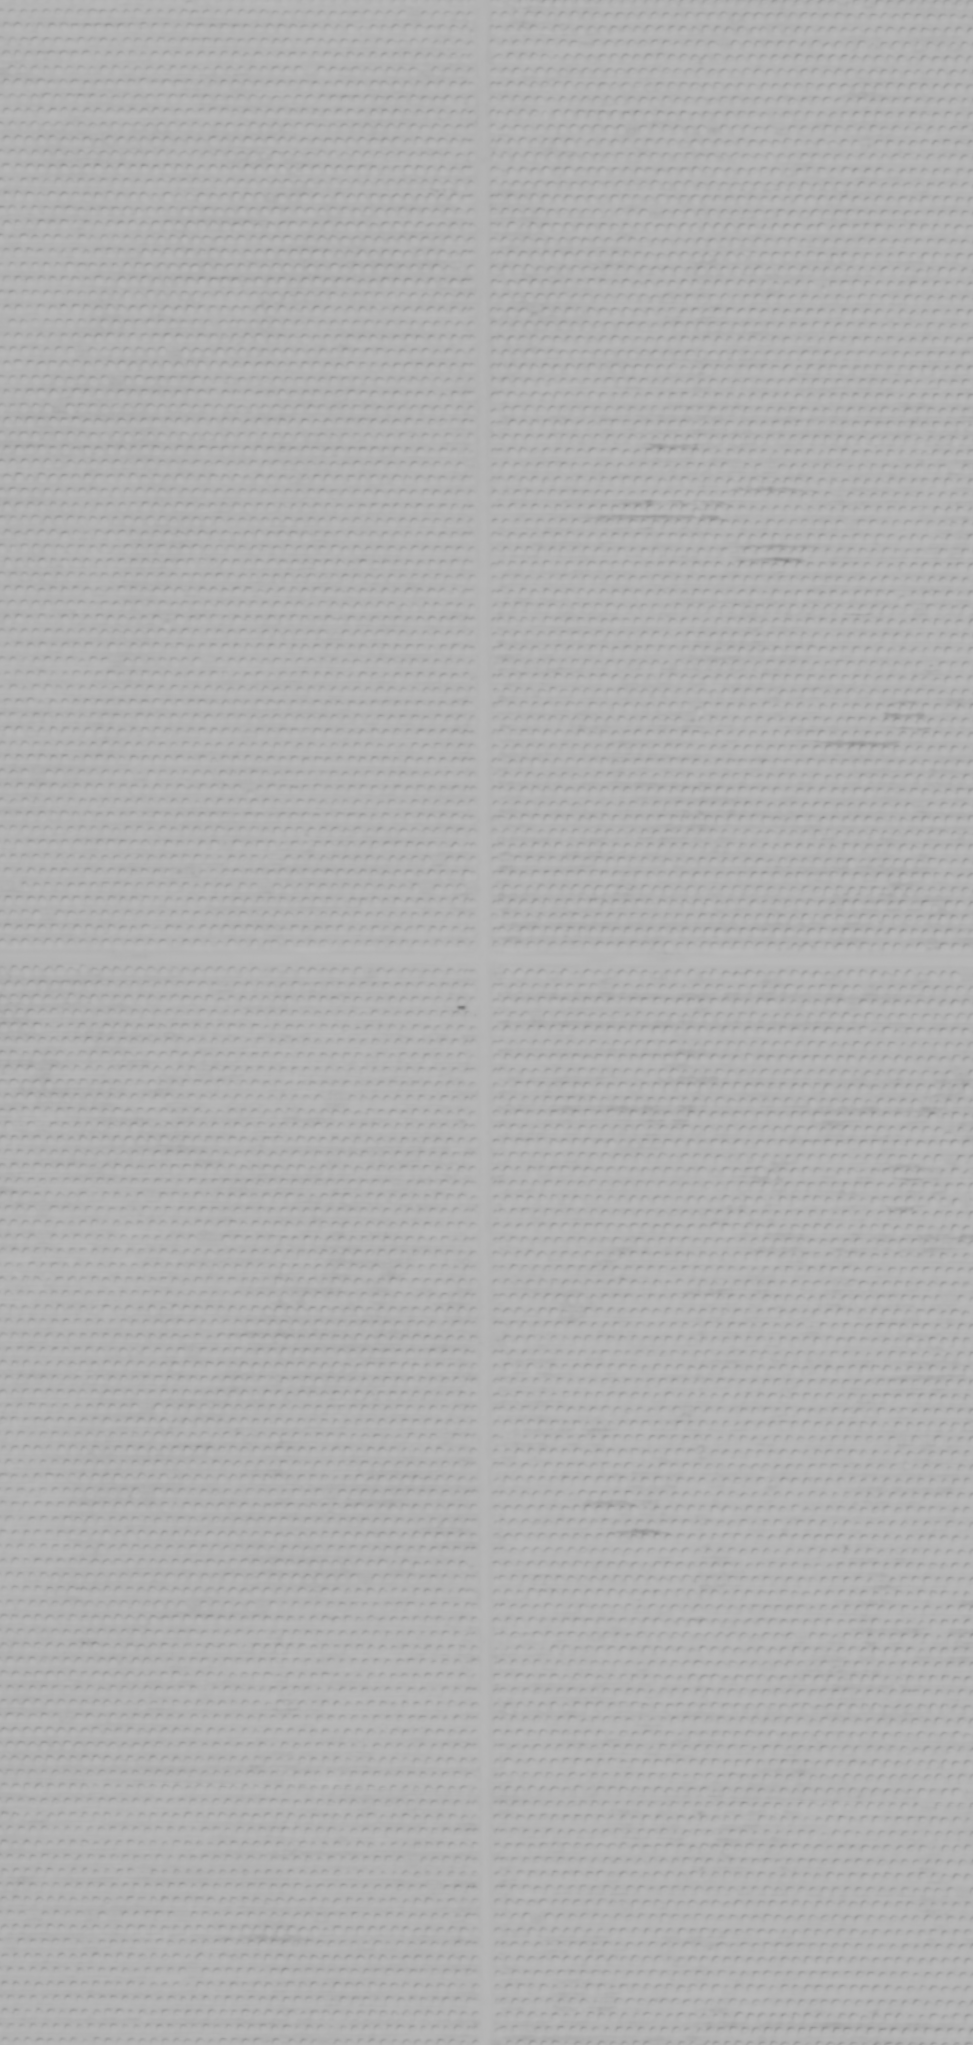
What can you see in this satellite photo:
road: (486, 55)
crop: (486, 1022)

